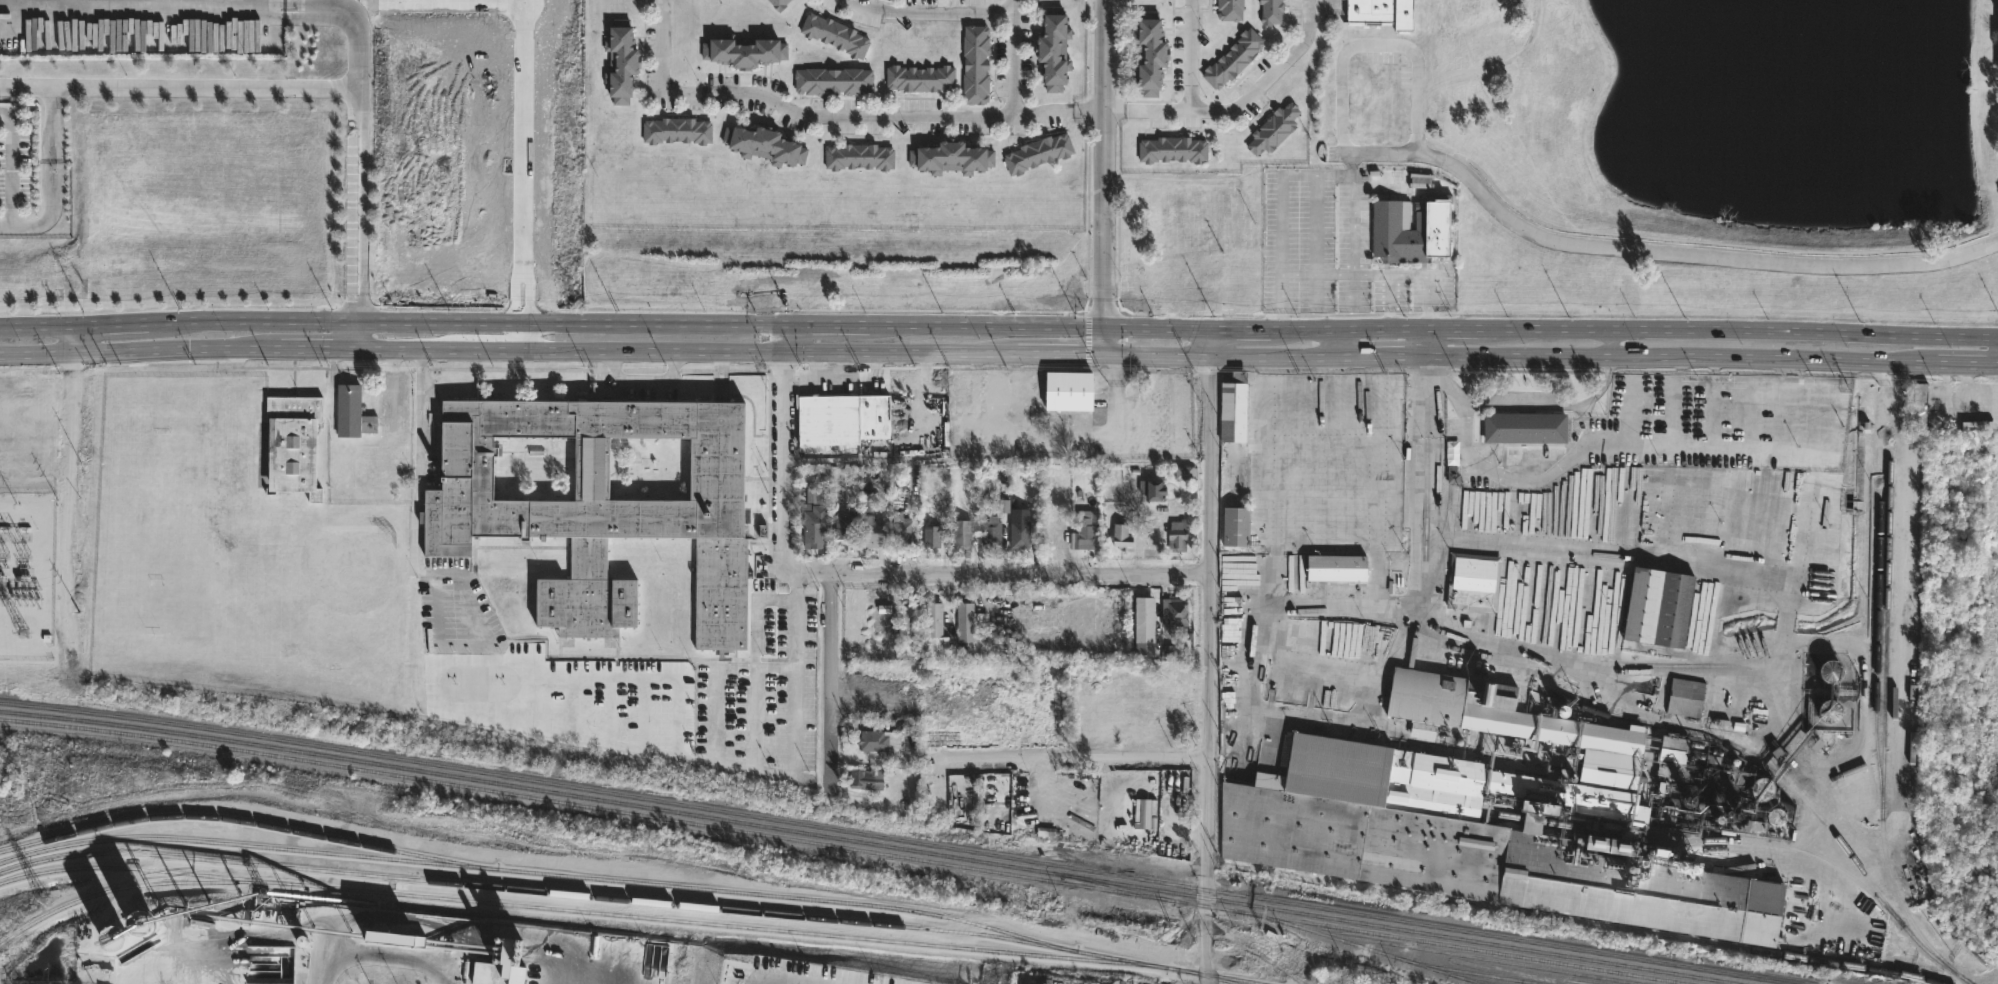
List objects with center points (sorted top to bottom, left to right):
building: (778, 4)
building: (1229, 9)
road: (929, 12)
building: (1270, 12)
building: (1382, 13)
building: (834, 35)
road: (663, 45)
road: (1380, 46)
building: (1053, 49)
building: (747, 50)
building: (1149, 55)
road: (1012, 58)
building: (1234, 60)
building: (620, 61)
building: (975, 64)
building: (919, 79)
building: (832, 81)
road: (181, 88)
road: (736, 92)
road: (1058, 109)
road: (1147, 110)
road: (1226, 110)
road: (909, 116)
road: (362, 123)
building: (1273, 130)
building: (676, 131)
building: (766, 143)
park: (1684, 147)
building: (1172, 149)
building: (1037, 153)
building: (858, 157)
building: (950, 159)
road: (1104, 162)
road: (52, 177)
road: (1354, 204)
road: (1280, 205)
building: (1411, 230)
road: (1316, 241)
parking lot: (1336, 249)
road: (1650, 249)
road: (1355, 273)
road: (1354, 291)
road: (1389, 300)
road: (391, 318)
road: (944, 323)
road: (1551, 330)
road: (783, 334)
road: (1104, 337)
road: (1338, 341)
road: (1425, 342)
road: (391, 343)
road: (1610, 343)
road: (943, 348)
road: (1110, 350)
road: (1557, 355)
road: (645, 381)
building: (1068, 390)
building: (1923, 401)
building: (118, 403)
road: (1525, 406)
building: (1233, 407)
building: (353, 412)
building: (840, 418)
road: (418, 421)
building: (1525, 426)
building: (110, 433)
road: (1070, 441)
building: (292, 444)
road: (1667, 447)
building: (198, 449)
road: (784, 460)
building: (1524, 462)
road: (71, 487)
building: (1152, 489)
building: (163, 503)
building: (602, 506)
building: (183, 508)
building: (109, 511)
building: (813, 523)
building: (845, 525)
building: (1236, 526)
building: (900, 529)
building: (871, 530)
building: (990, 532)
building: (1086, 532)
building: (961, 533)
building: (1020, 533)
road: (1417, 533)
building: (931, 535)
building: (1121, 536)
building: (1177, 536)
building: (1336, 567)
power substation: (27, 574)
road: (997, 576)
building: (1473, 581)
park: (314, 601)
building: (1644, 604)
building: (1674, 609)
building: (1174, 611)
building: (1143, 619)
building: (884, 620)
building: (933, 620)
road: (1789, 621)
building: (907, 624)
building: (971, 629)
railway: (1876, 651)
road: (1211, 656)
building: (1829, 670)
building: (712, 677)
road: (831, 689)
building: (712, 697)
building: (1686, 697)
building: (1426, 700)
park: (621, 705)
building: (744, 708)
railway: (2, 710)
building: (1829, 710)
building: (712, 719)
railway: (1883, 724)
railway: (12, 735)
building: (1559, 735)
building: (712, 739)
building: (743, 739)
building: (879, 741)
building: (1670, 750)
road: (1075, 757)
road: (771, 773)
building: (864, 780)
railway: (1787, 783)
railway: (664, 817)
building: (115, 833)
railway: (899, 838)
railway: (1696, 840)
building: (1476, 841)
railway: (875, 843)
railway: (295, 845)
building: (1608, 846)
railway: (103, 864)
railway: (636, 879)
railway: (1114, 885)
railway: (83, 887)
power tower: (42, 901)
railway: (712, 902)
railway: (1373, 931)
railway: (1721, 944)
railway: (1370, 947)
road: (383, 958)
railway: (1116, 963)
railway: (1481, 972)
railway: (1488, 981)

